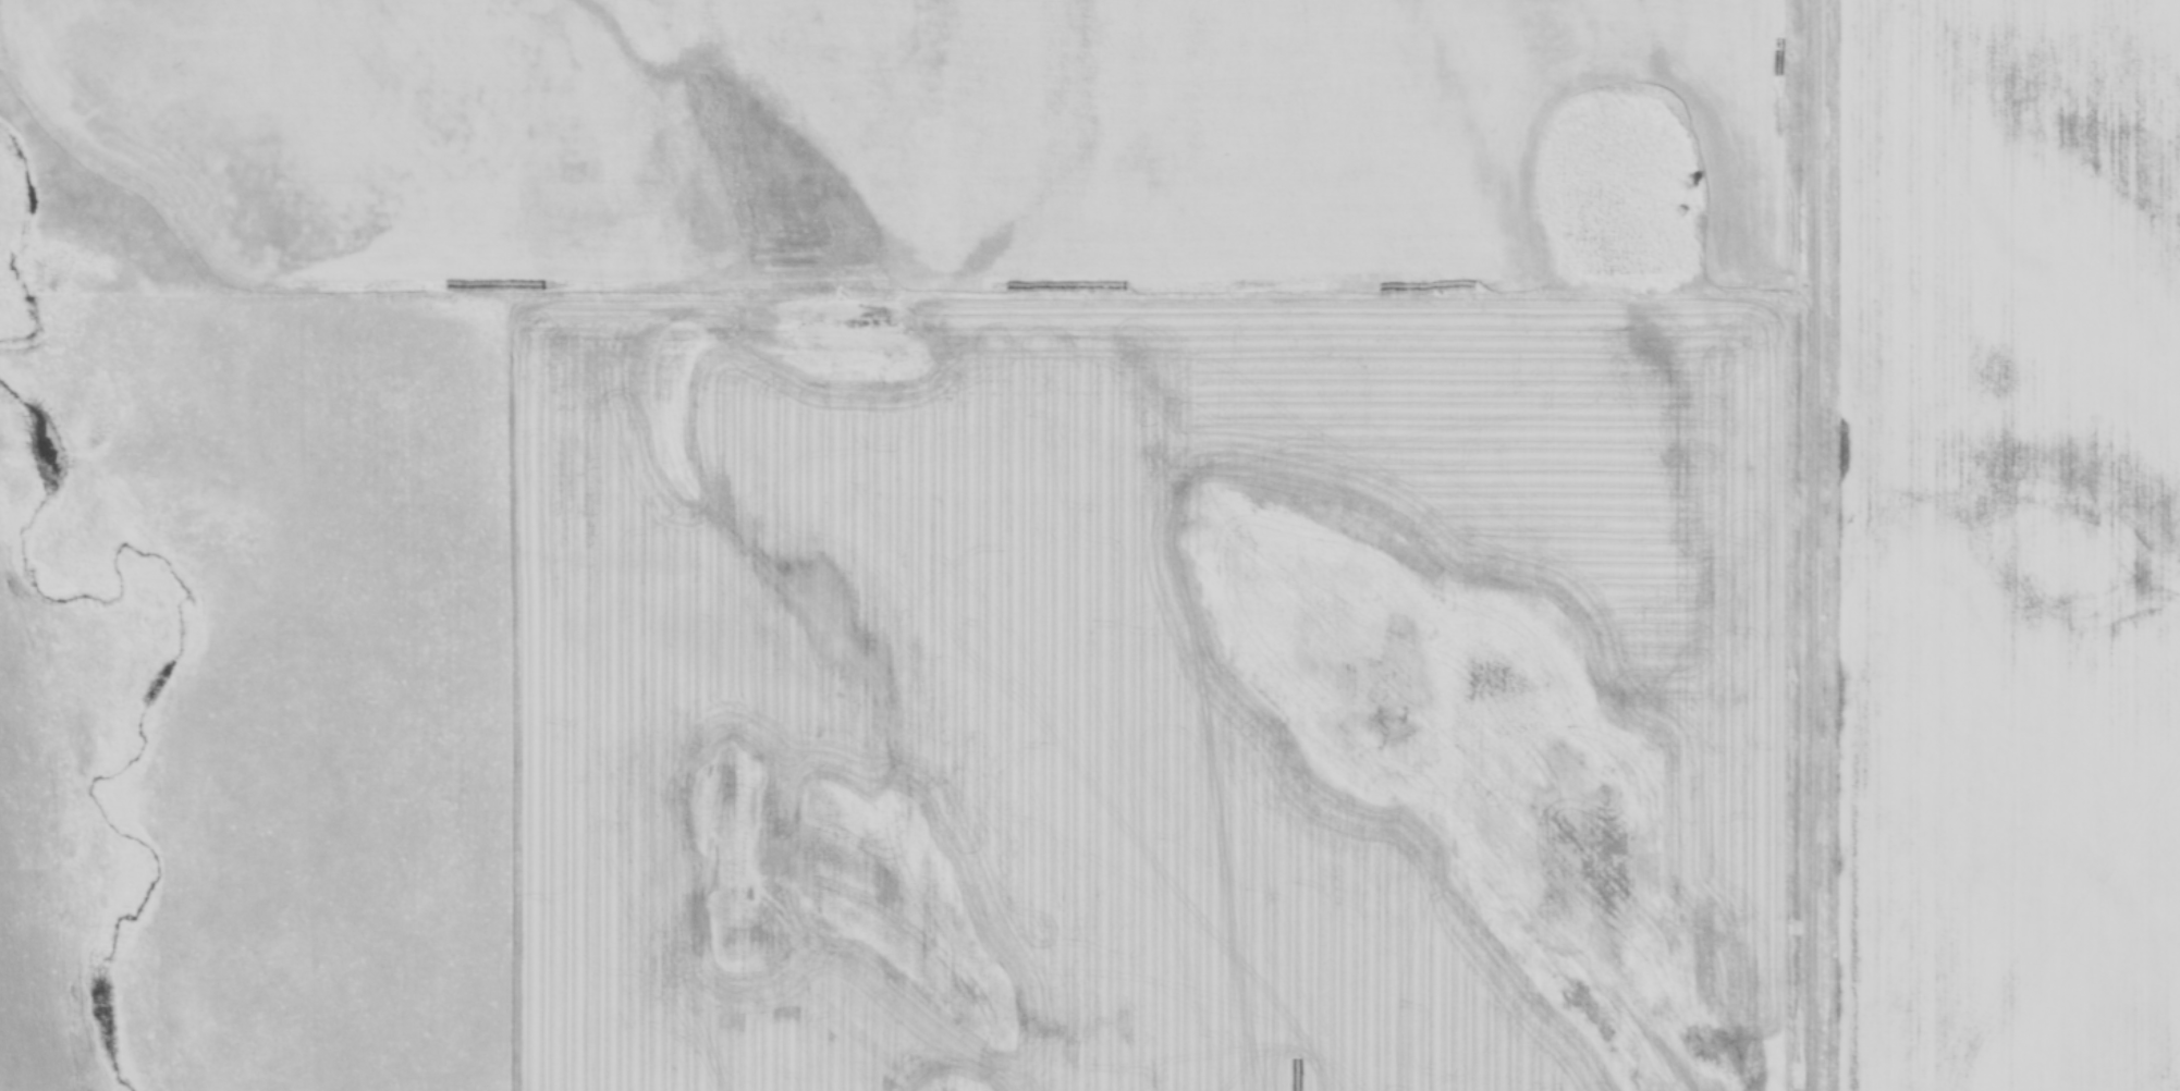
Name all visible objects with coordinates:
road: (1811, 545)

